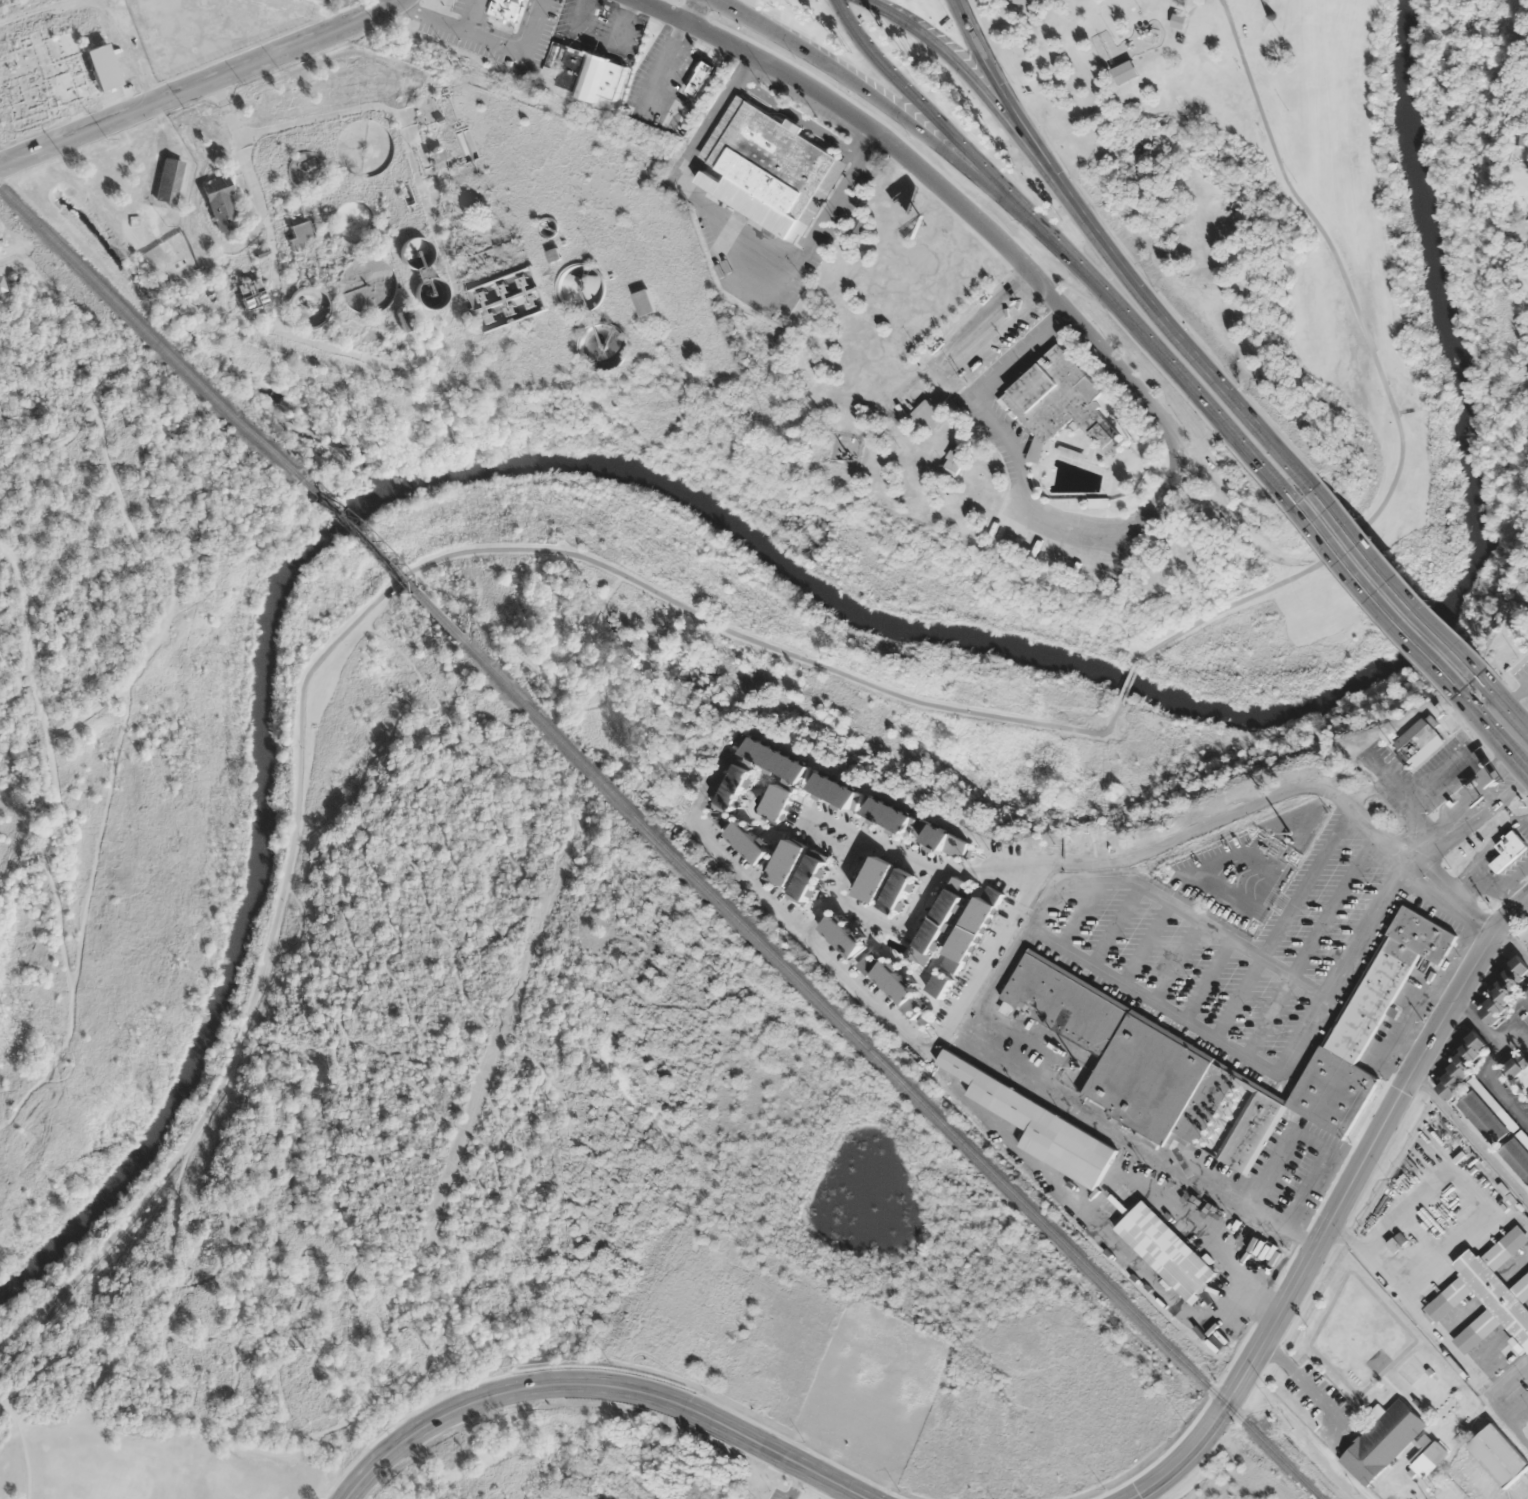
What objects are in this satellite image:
building: (321, 1)
parking lot: (989, 1)
building: (506, 8)
road: (692, 11)
road: (470, 14)
road: (509, 34)
road: (483, 35)
road: (945, 56)
road: (989, 63)
building: (1124, 71)
building: (581, 73)
road: (658, 73)
building: (53, 74)
building: (702, 78)
road: (859, 85)
road: (200, 86)
road: (912, 95)
building: (438, 158)
building: (771, 168)
building: (168, 180)
building: (221, 204)
road: (973, 216)
park: (1266, 225)
building: (300, 231)
building: (2, 284)
building: (643, 302)
road: (1158, 312)
building: (404, 319)
railway: (147, 333)
road: (1143, 339)
road: (1384, 383)
building: (1058, 403)
building: (926, 414)
building: (1069, 453)
building: (952, 463)
building: (1047, 484)
railway: (375, 559)
road: (1394, 581)
road: (1371, 597)
road: (170, 609)
road: (355, 622)
building: (1526, 635)
road: (12, 671)
road: (1127, 681)
road: (29, 684)
road: (18, 693)
road: (1513, 698)
road: (1492, 701)
road: (1482, 711)
park: (113, 729)
road: (1517, 738)
building: (1418, 742)
building: (770, 758)
building: (733, 790)
building: (835, 791)
building: (778, 805)
road: (1238, 812)
road: (836, 823)
building: (914, 827)
road: (102, 832)
building: (747, 844)
building: (1508, 849)
building: (786, 863)
building: (807, 879)
building: (885, 886)
road: (836, 888)
road: (1173, 906)
road: (1080, 915)
building: (942, 917)
road: (1282, 921)
road: (896, 926)
road: (1115, 926)
building: (1524, 934)
building: (968, 936)
building: (841, 938)
road: (63, 939)
road: (1310, 942)
road: (1145, 943)
road: (1175, 961)
building: (887, 979)
road: (1206, 979)
building: (939, 985)
building: (1505, 987)
road: (858, 990)
building: (1525, 998)
road: (1476, 1023)
building: (1365, 1024)
road: (1512, 1030)
road: (1262, 1064)
building: (1461, 1065)
building: (1516, 1065)
railway: (887, 1069)
road: (1499, 1084)
building: (1527, 1095)
building: (1483, 1115)
building: (1039, 1125)
building: (1251, 1129)
road: (1471, 1136)
road: (1370, 1146)
park: (544, 1153)
building: (1516, 1156)
building: (1505, 1246)
building: (1165, 1250)
building: (1521, 1287)
building: (1495, 1295)
road: (144, 1296)
building: (1448, 1297)
building: (1477, 1329)
road: (34, 1334)
road: (116, 1352)
road: (602, 1384)
road: (1306, 1386)
parking lot: (1510, 1394)
building: (1381, 1440)
road: (25, 1445)
building: (1500, 1453)
road: (1182, 1456)
building: (1426, 1458)

